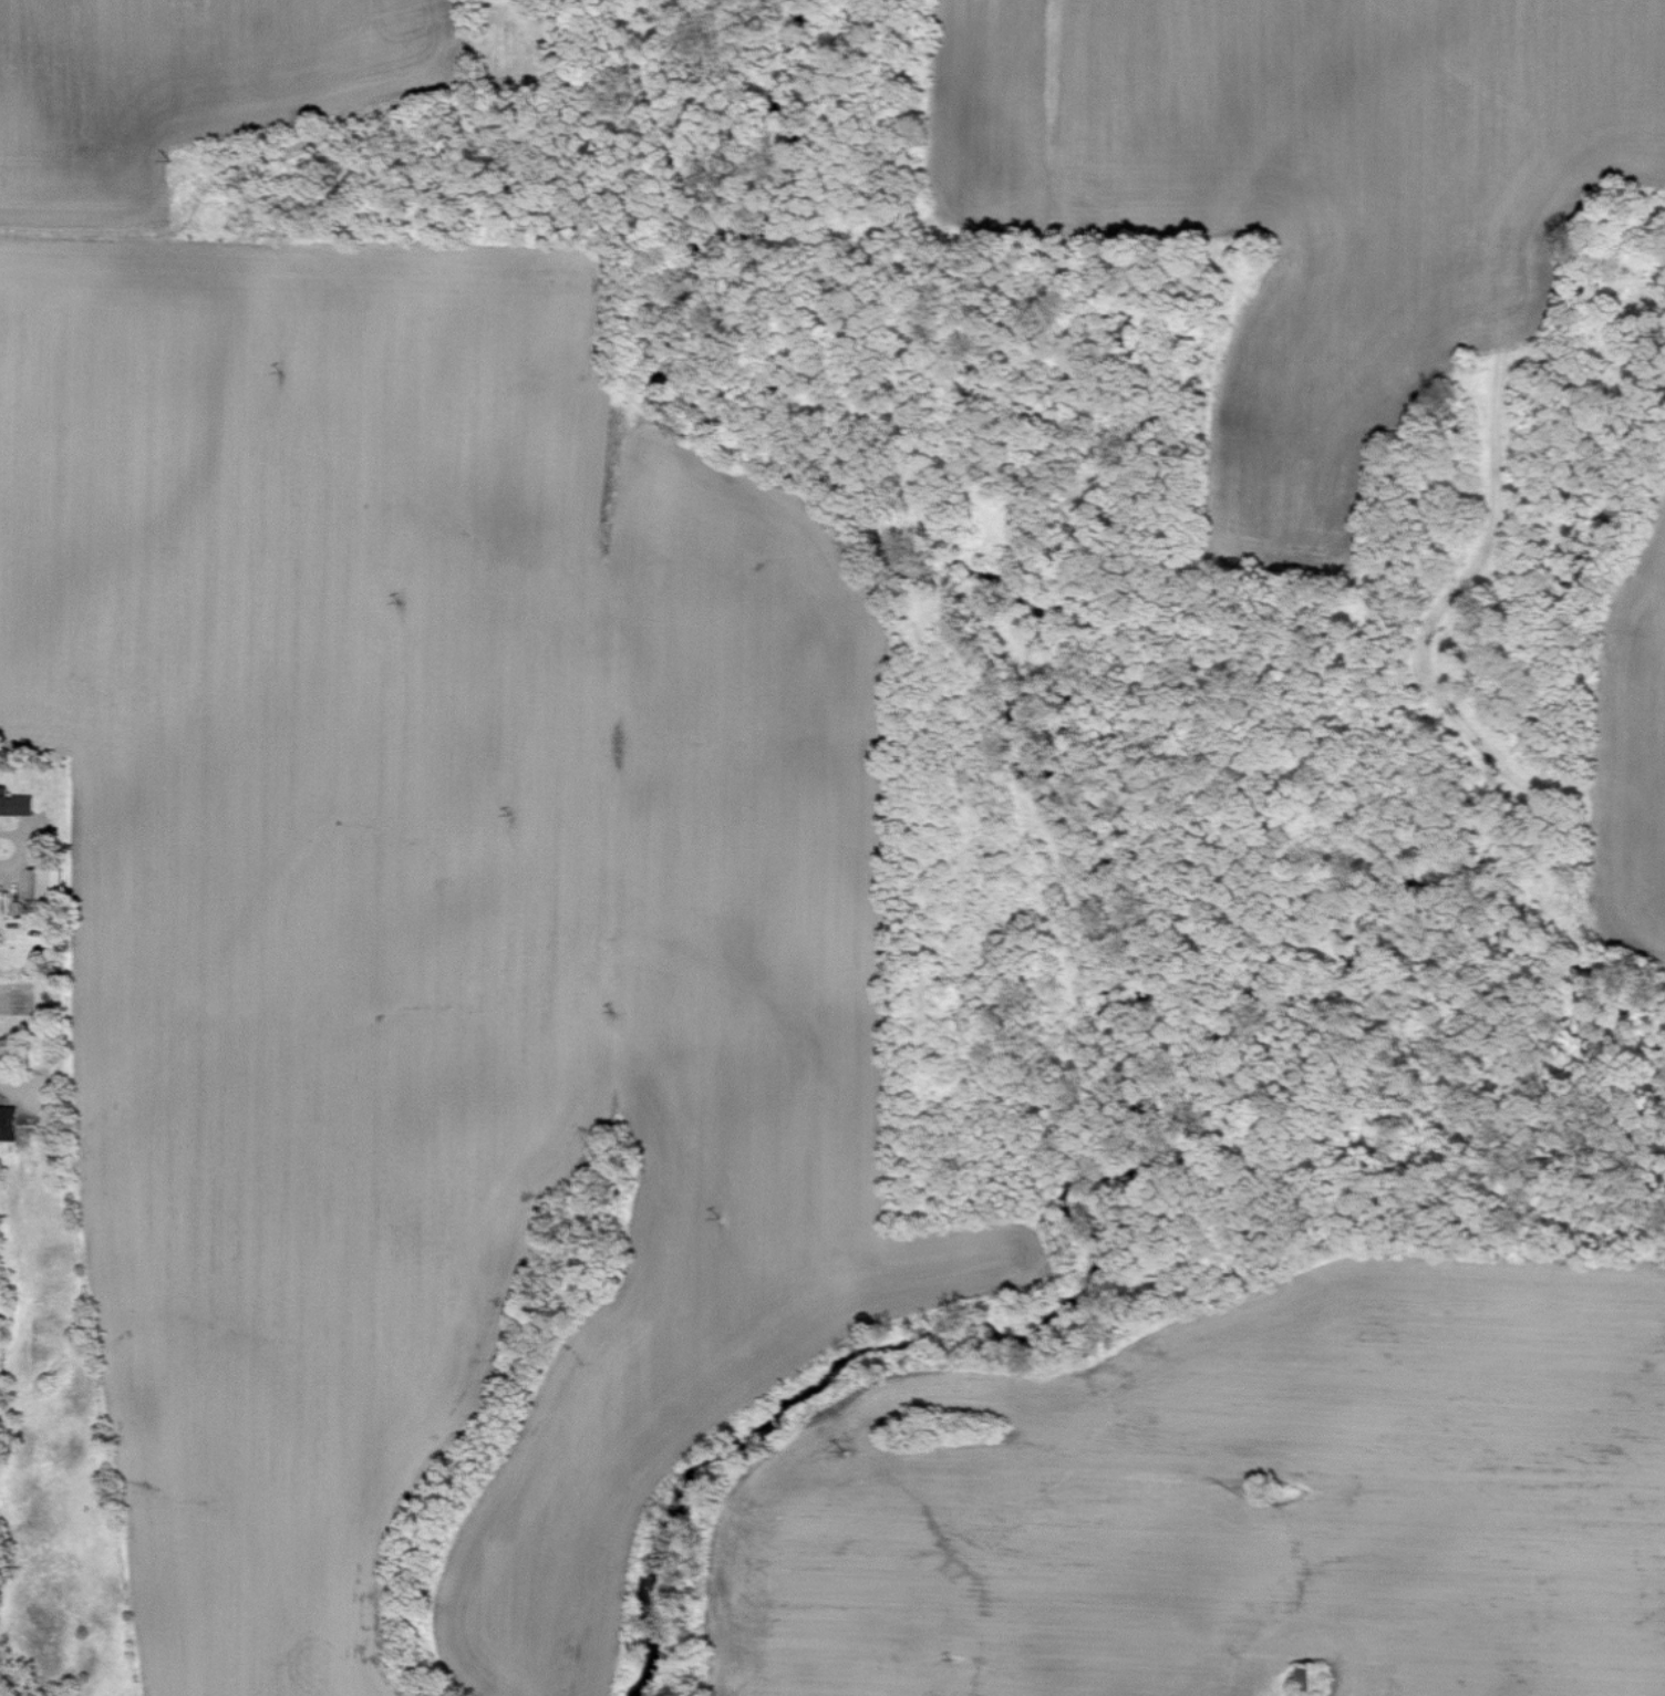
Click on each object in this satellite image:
building: (48, 885)

